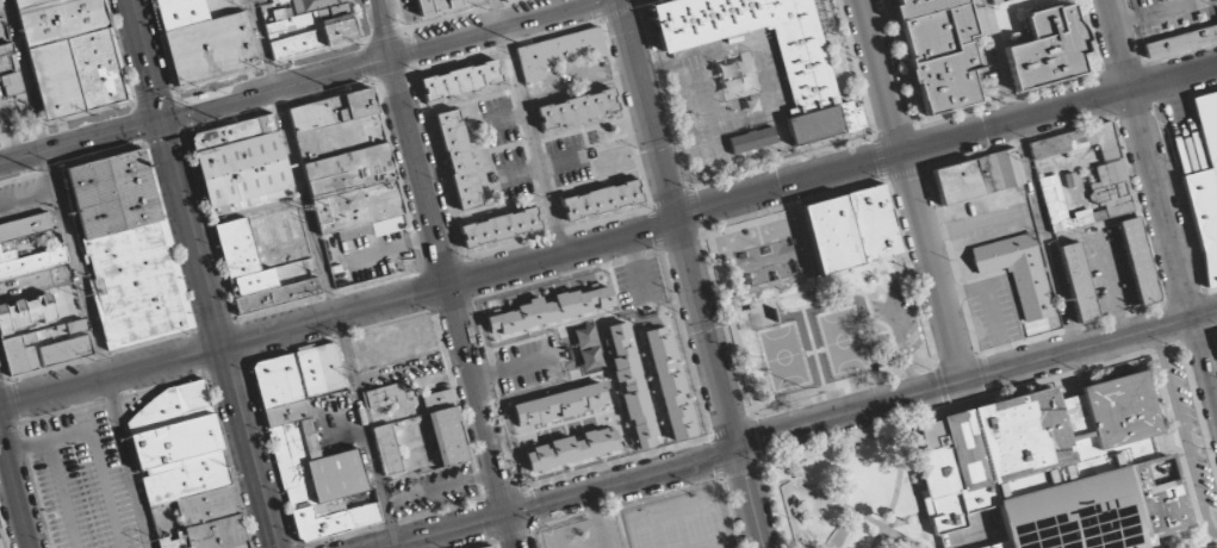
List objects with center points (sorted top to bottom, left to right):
road: (639, 1)
building: (27, 2)
building: (453, 4)
building: (310, 5)
building: (439, 5)
building: (0, 6)
building: (424, 7)
road: (596, 10)
road: (620, 11)
building: (180, 12)
road: (457, 13)
parking lot: (1172, 17)
building: (61, 20)
road: (384, 27)
road: (495, 29)
building: (309, 30)
road: (384, 33)
building: (1180, 41)
building: (210, 48)
building: (1047, 48)
building: (557, 52)
building: (938, 52)
building: (6, 57)
road: (271, 64)
building: (77, 74)
building: (806, 76)
building: (459, 80)
building: (11, 83)
road: (154, 95)
railway: (211, 101)
railway: (190, 105)
building: (576, 108)
road: (195, 110)
building: (331, 111)
road: (66, 119)
traffic signals: (163, 119)
road: (530, 126)
building: (340, 138)
building: (752, 139)
building: (457, 160)
building: (241, 164)
building: (348, 172)
building: (1112, 175)
building: (976, 176)
building: (1205, 185)
road: (912, 191)
building: (110, 194)
building: (600, 200)
building: (358, 206)
road: (1160, 206)
road: (678, 224)
building: (24, 226)
building: (498, 228)
building: (873, 228)
road: (1047, 235)
building: (831, 238)
road: (610, 241)
building: (6, 251)
building: (1138, 261)
building: (32, 262)
building: (1018, 270)
building: (255, 272)
road: (323, 273)
road: (81, 274)
road: (203, 274)
building: (1079, 281)
building: (134, 284)
road: (451, 286)
building: (549, 309)
building: (26, 313)
park: (830, 343)
building: (66, 350)
building: (21, 354)
building: (319, 369)
road: (976, 376)
building: (668, 382)
building: (632, 385)
building: (384, 396)
building: (559, 404)
building: (446, 428)
building: (387, 449)
building: (570, 450)
building: (308, 460)
building: (185, 463)
building: (954, 471)
parking lot: (76, 475)
road: (15, 488)
road: (750, 498)
park: (853, 498)
road: (566, 500)
building: (1076, 513)
road: (515, 531)
parking lot: (583, 534)
building: (1, 541)
building: (170, 543)
building: (486, 547)
building: (490, 547)

